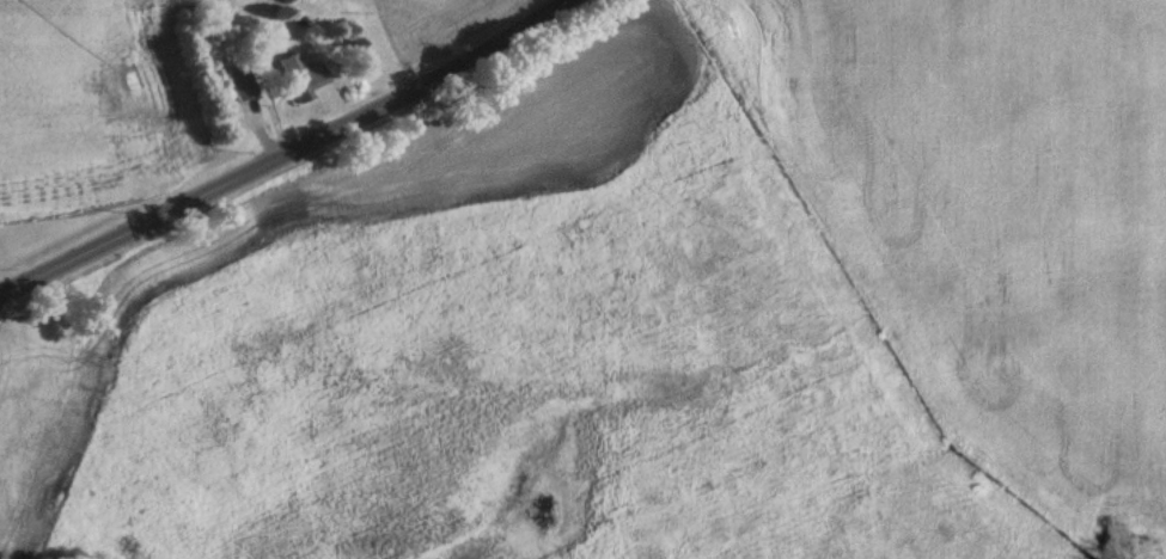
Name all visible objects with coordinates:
building: (301, 78)
building: (240, 81)
road: (289, 160)

